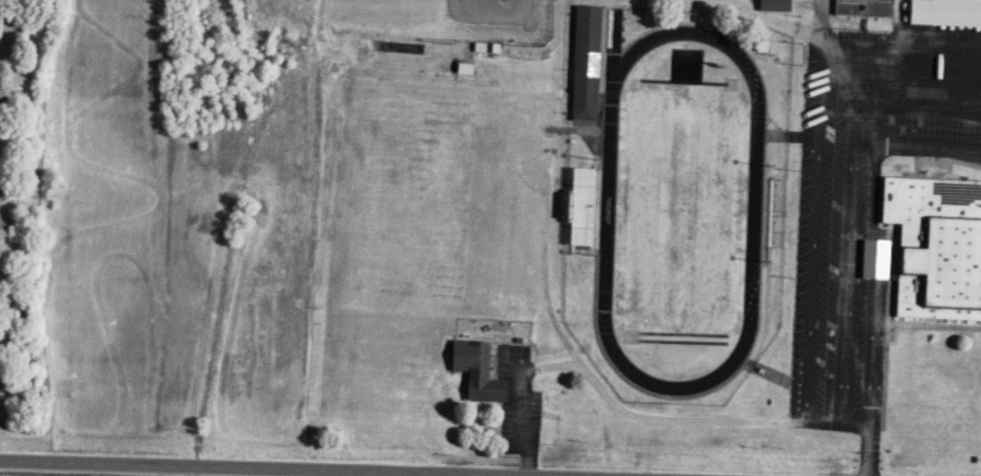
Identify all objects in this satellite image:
building: (771, 6)
building: (861, 9)
building: (944, 14)
building: (483, 49)
building: (582, 65)
building: (2, 104)
road: (867, 231)
building: (935, 247)
building: (507, 302)
building: (474, 373)
road: (634, 415)
road: (869, 450)
road: (230, 469)

